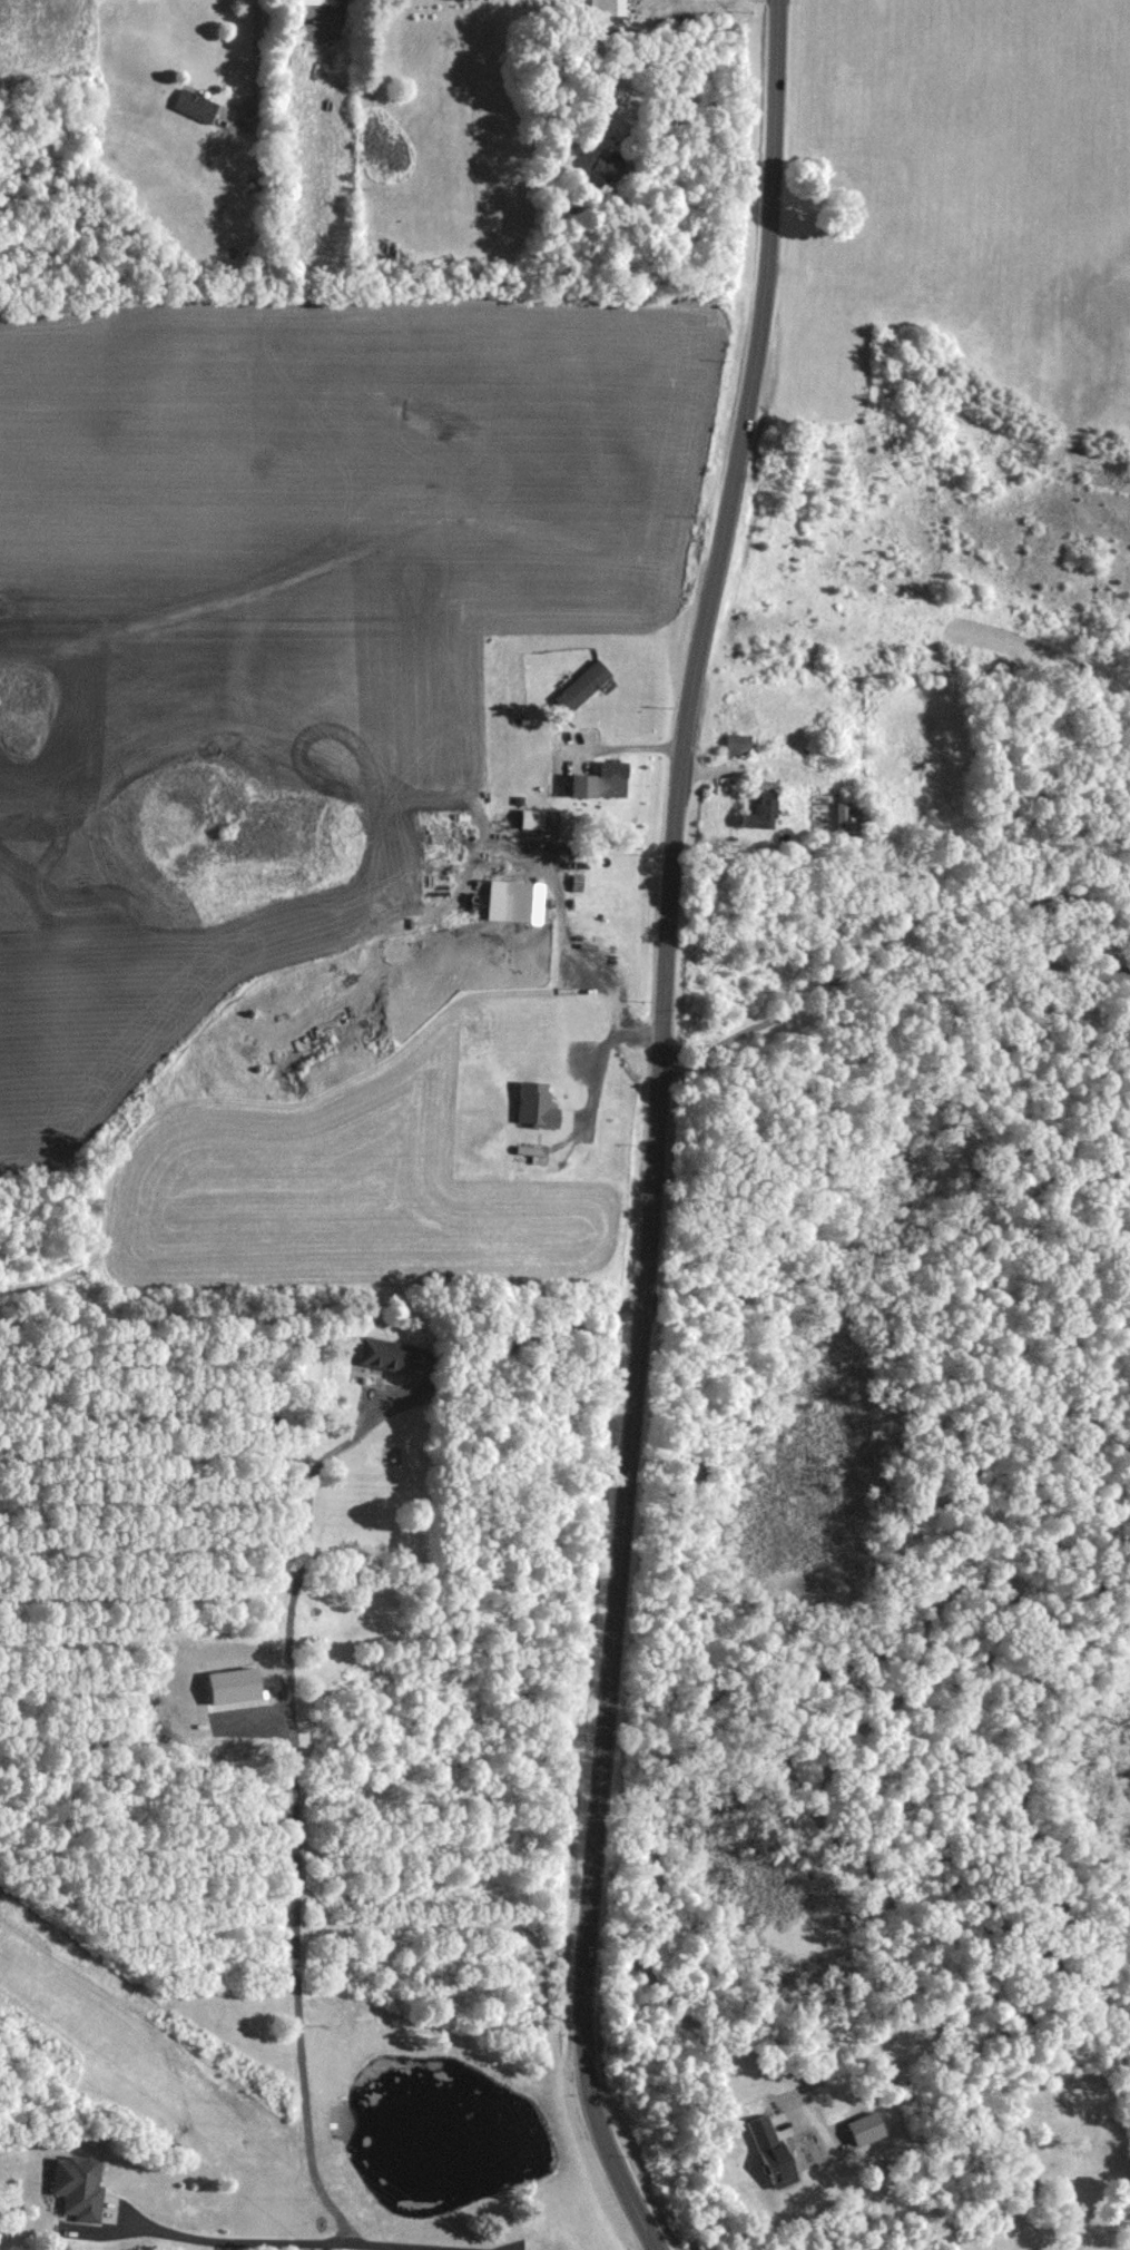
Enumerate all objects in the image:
building: (315, 2)
building: (606, 8)
road: (625, 58)
road: (259, 60)
building: (191, 106)
building: (601, 167)
building: (579, 687)
road: (635, 740)
building: (736, 745)
road: (707, 766)
building: (607, 778)
building: (758, 806)
building: (528, 818)
building: (838, 818)
building: (514, 855)
road: (900, 926)
road: (655, 1129)
building: (386, 1355)
road: (298, 1809)
building: (766, 2152)
building: (72, 2187)
road: (891, 2192)
road: (320, 2237)

